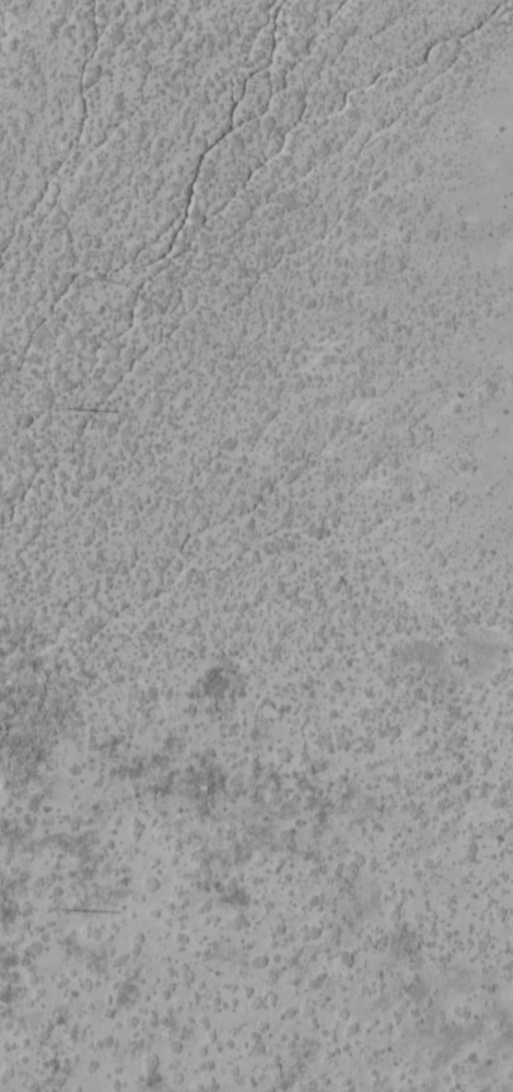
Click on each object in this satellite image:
power tower: (54, 409)
power tower: (57, 909)

